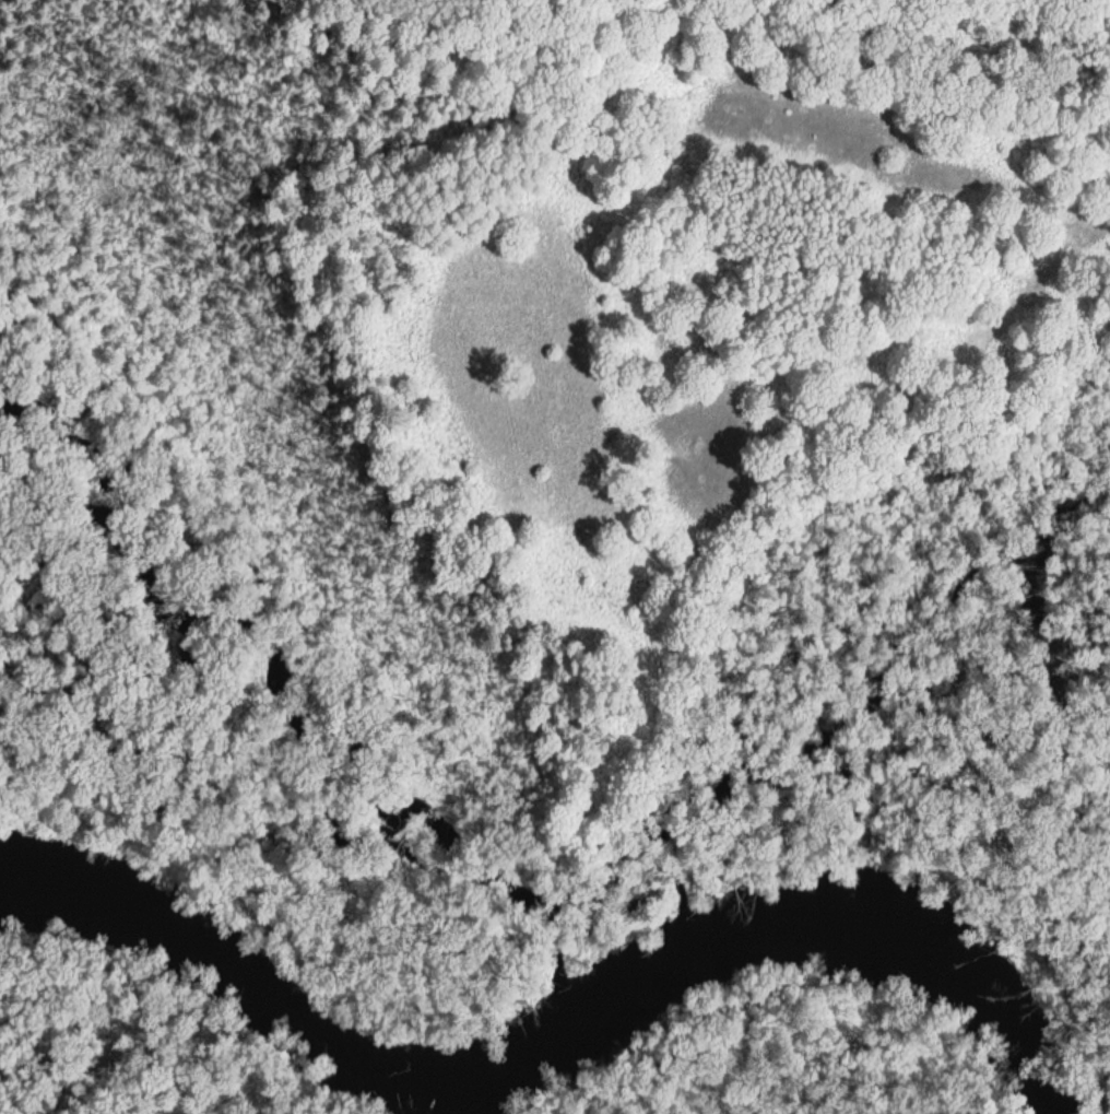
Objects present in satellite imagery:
river: (552, 1048)

